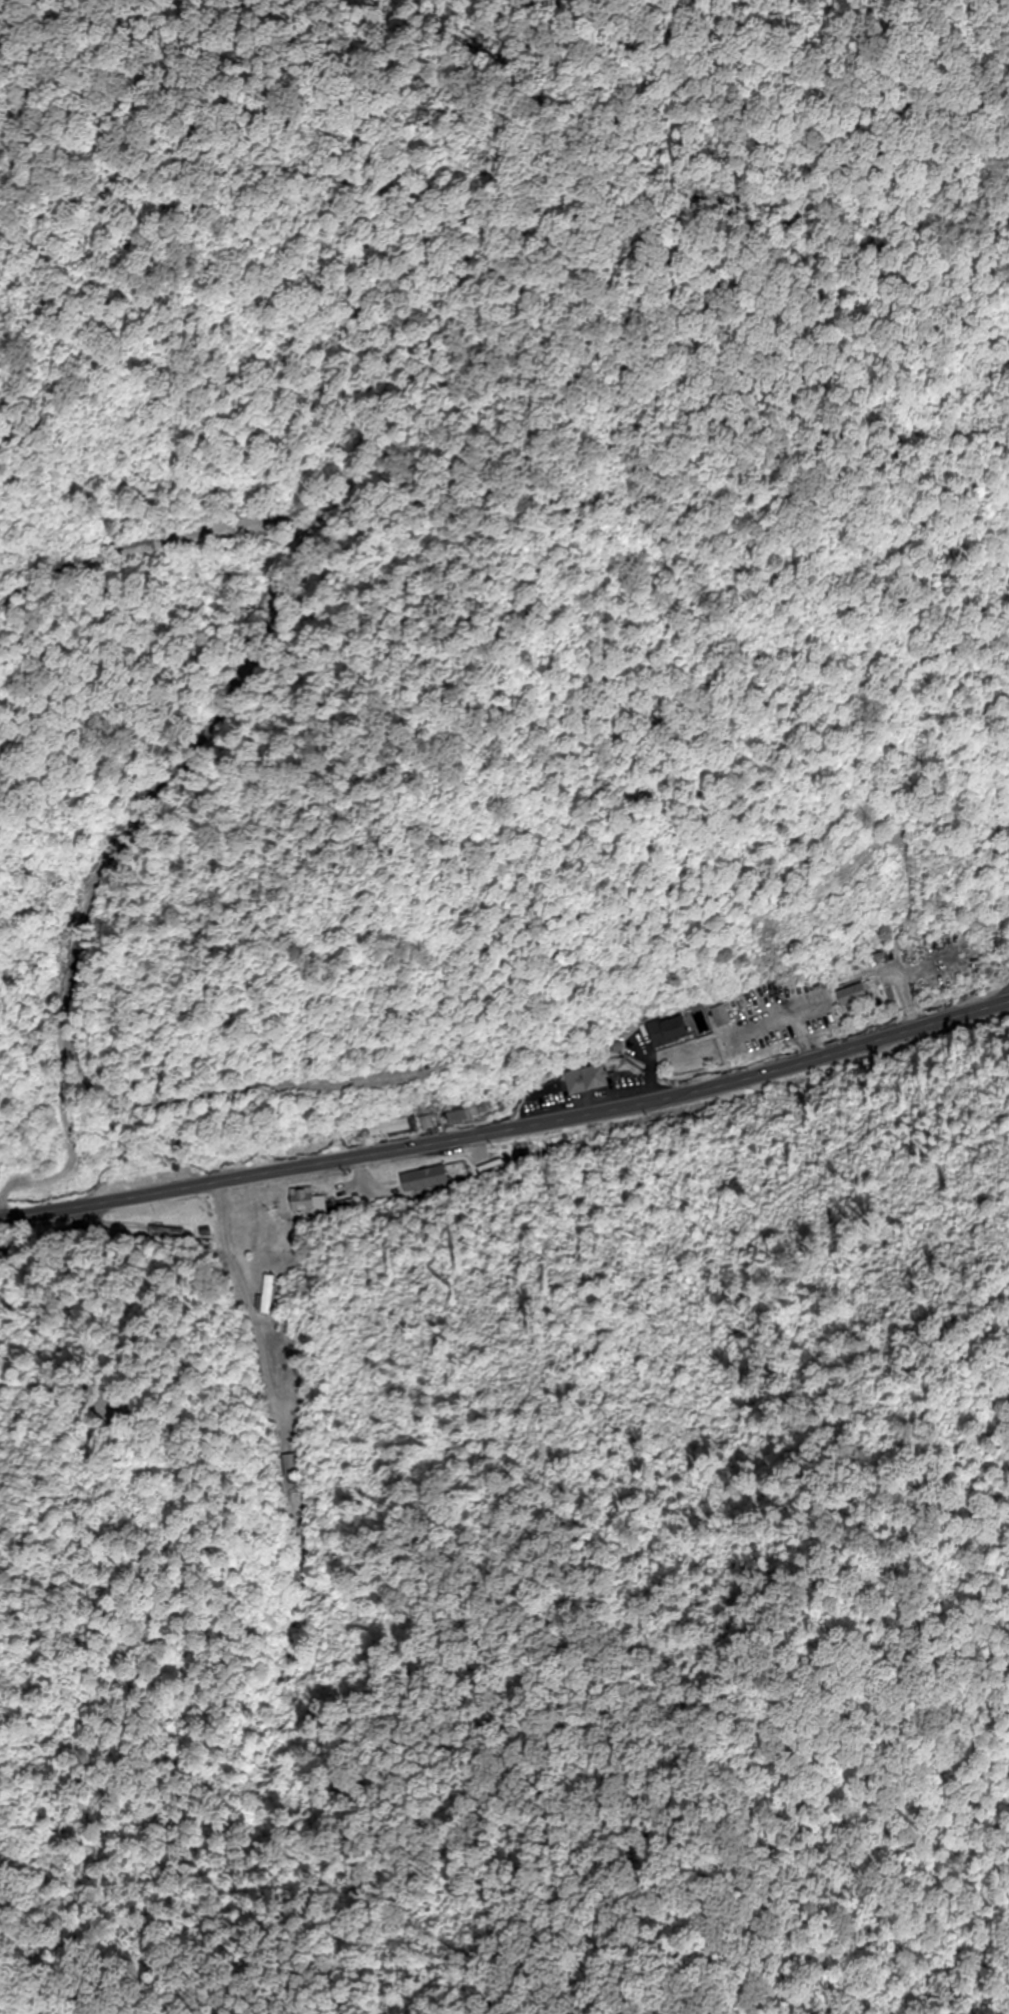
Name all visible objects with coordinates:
building: (854, 982)
building: (677, 1029)
building: (584, 1081)
road: (506, 1111)
building: (460, 1114)
building: (426, 1123)
building: (390, 1127)
building: (427, 1179)
building: (308, 1208)
road: (70, 1228)

